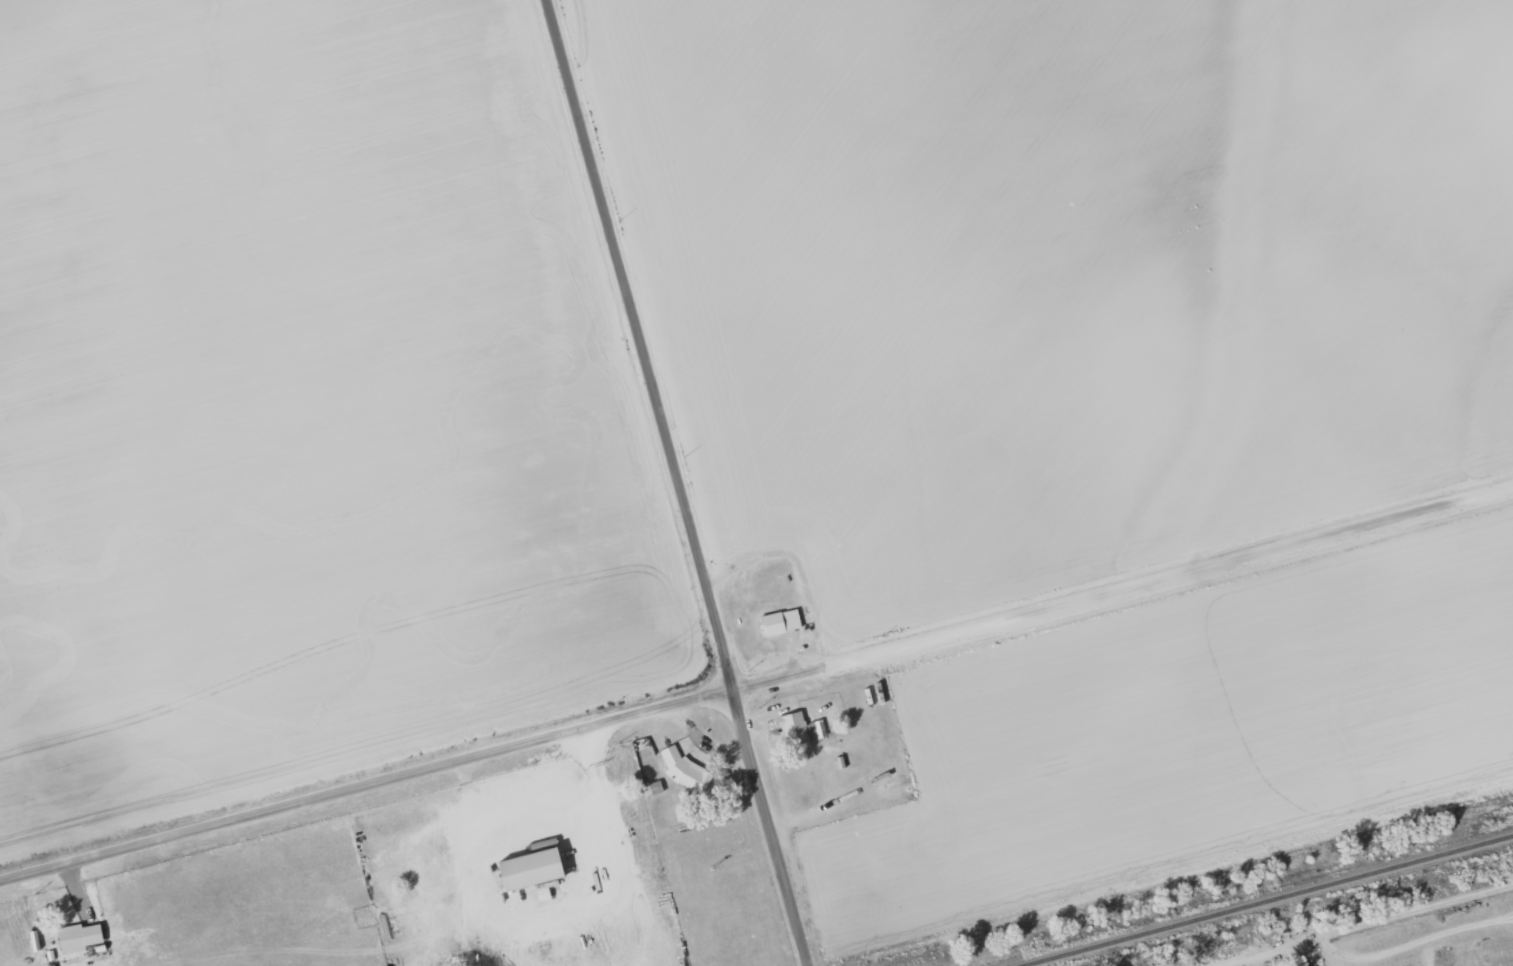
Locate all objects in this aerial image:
road: (640, 341)
building: (781, 622)
road: (756, 682)
building: (795, 728)
building: (683, 767)
road: (771, 826)
railway: (1263, 899)
road: (1356, 924)

